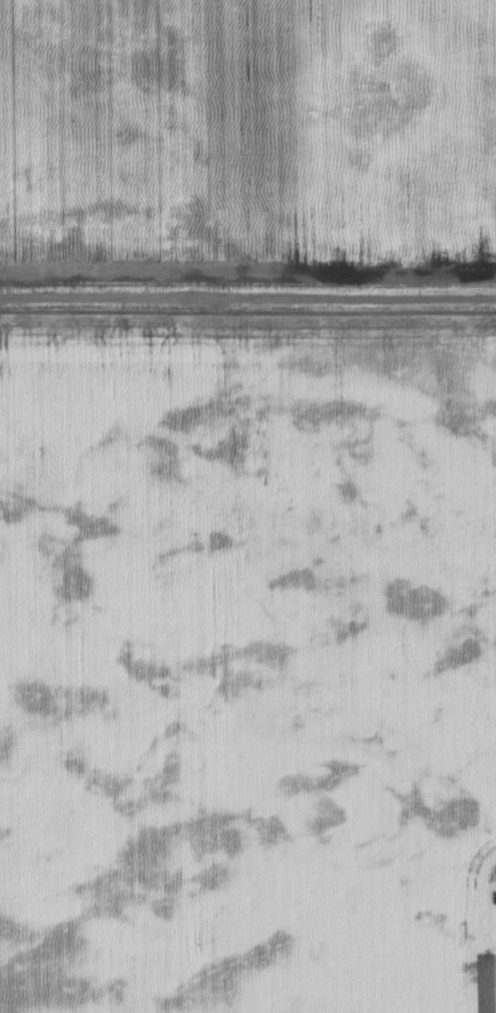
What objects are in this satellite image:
road: (248, 301)

